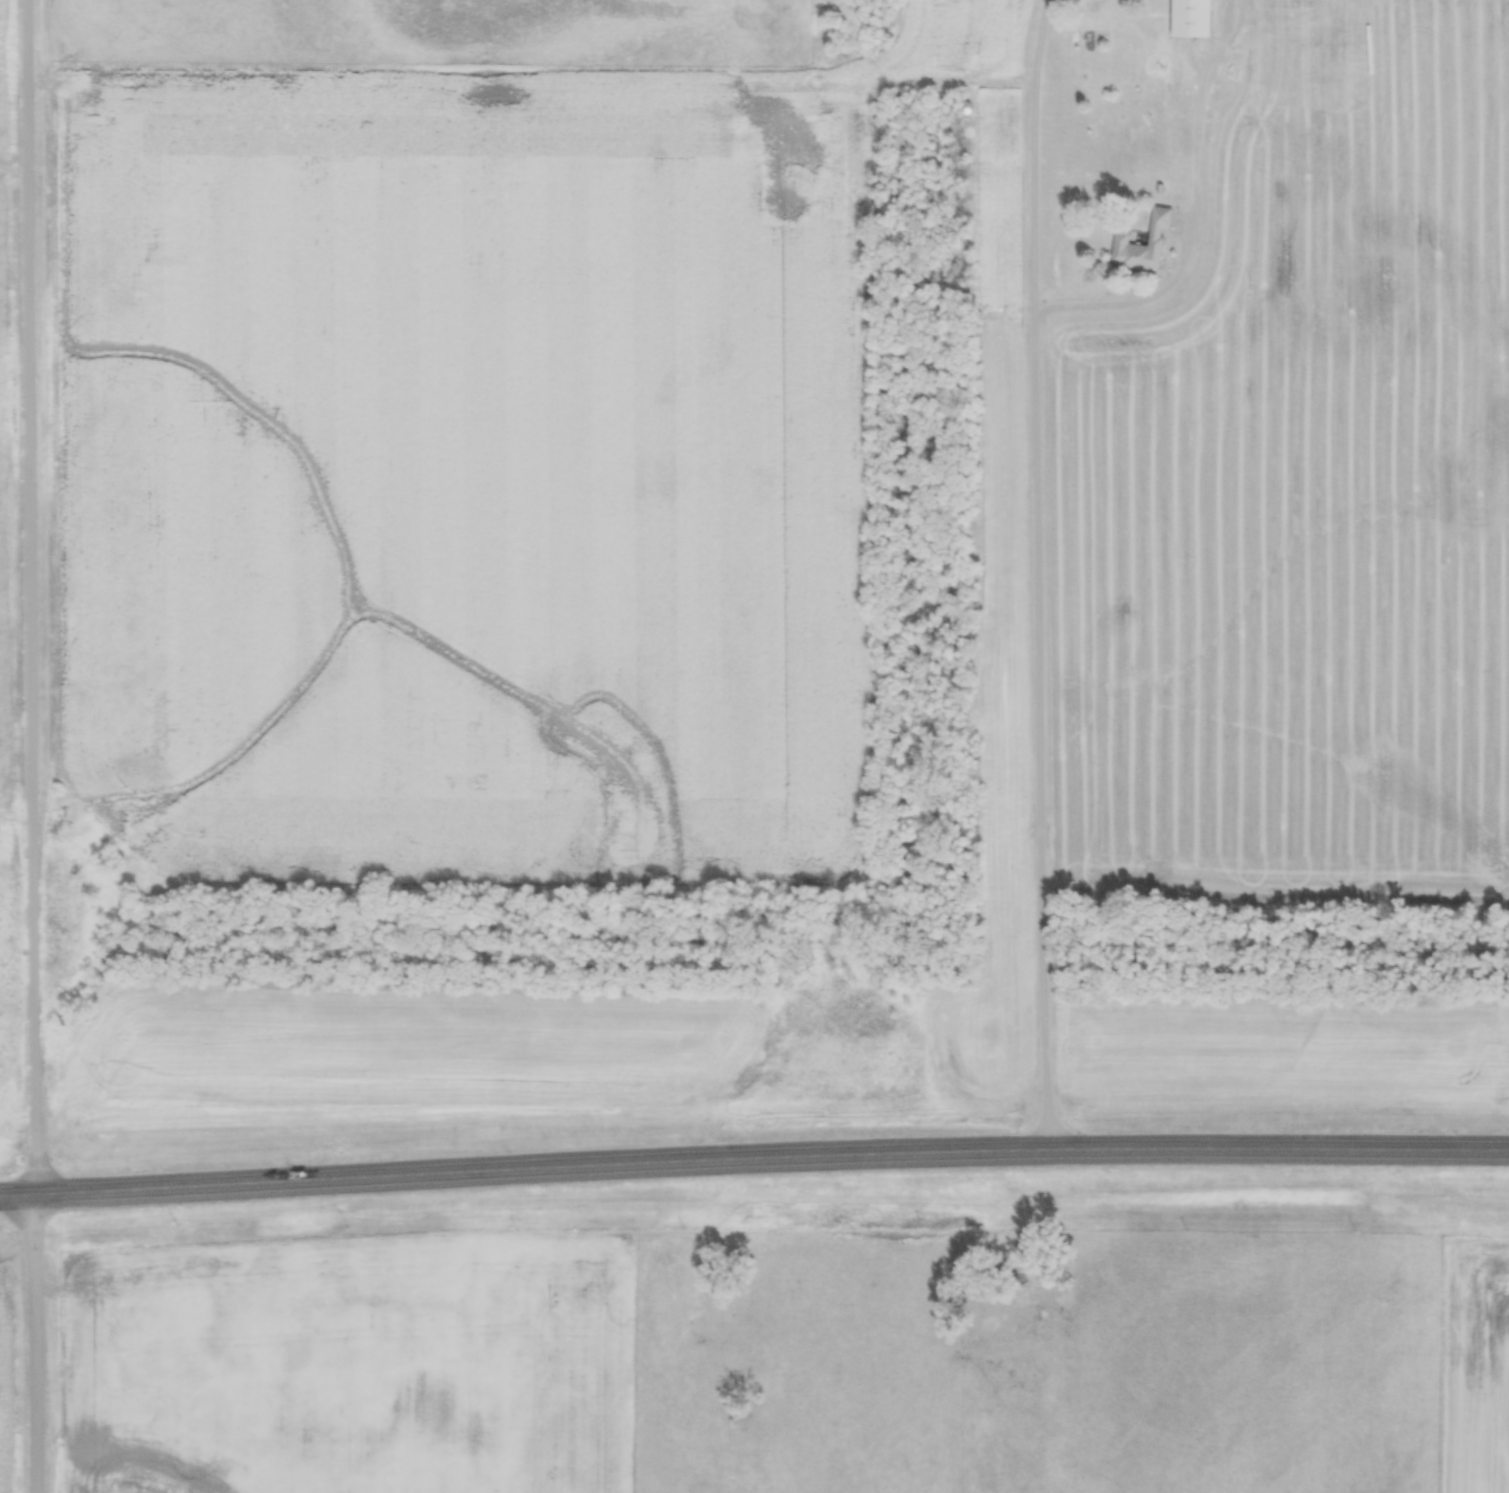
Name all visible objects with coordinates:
building: (1076, 0)
building: (1193, 19)
road: (1193, 214)
building: (1142, 246)
road: (1041, 575)
road: (33, 746)
road: (753, 1155)

